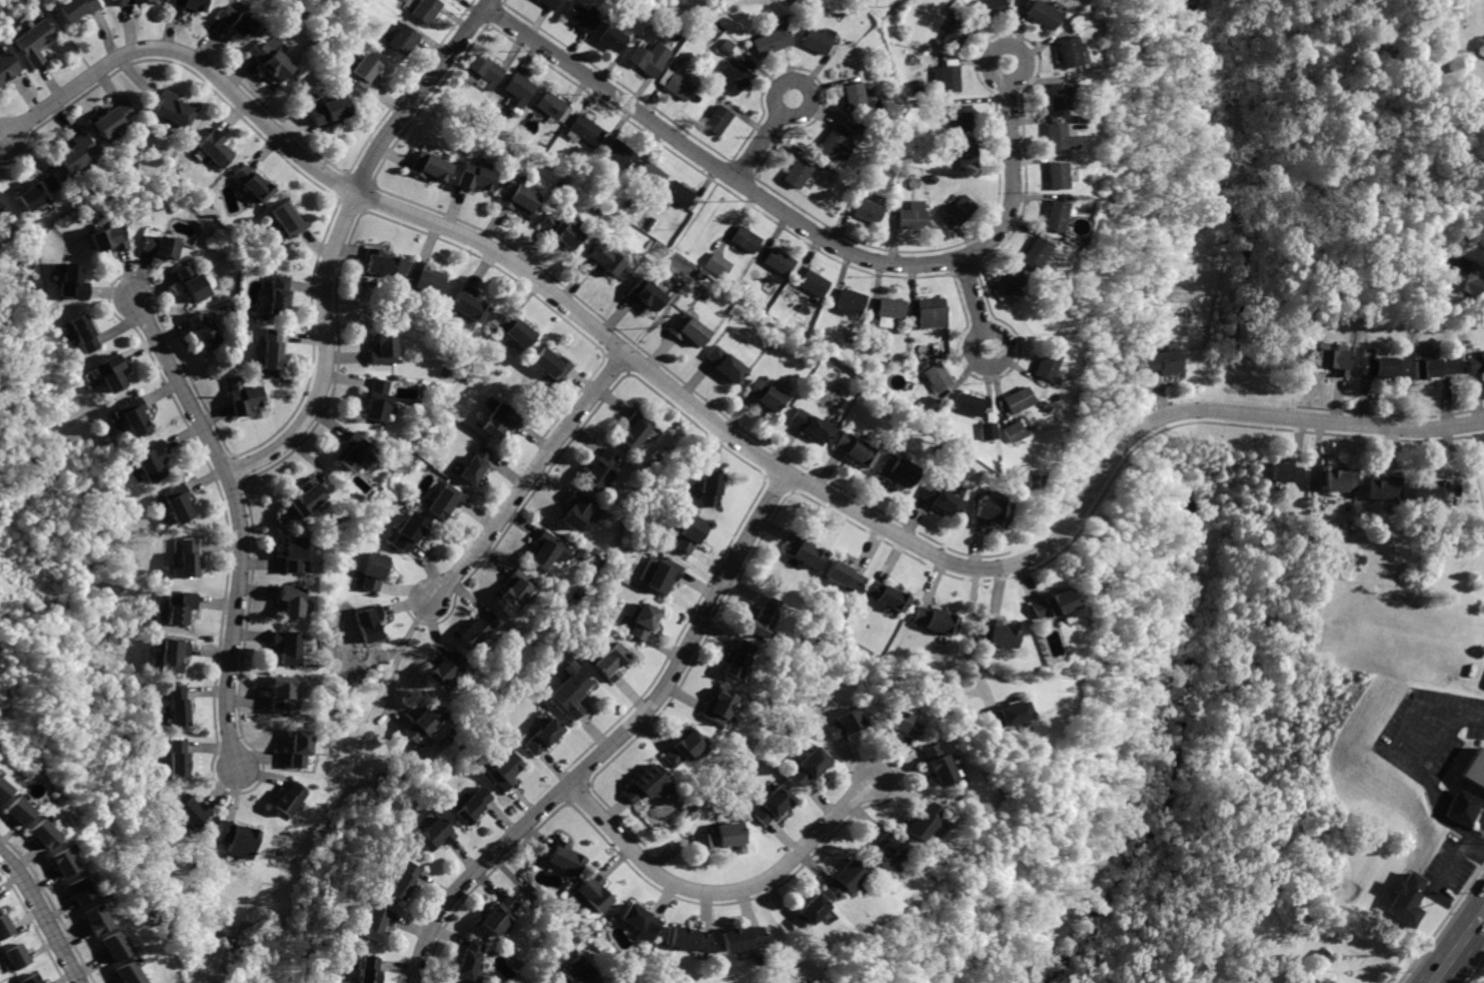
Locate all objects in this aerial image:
building: (130, 2)
building: (1065, 3)
building: (543, 4)
building: (190, 6)
building: (78, 8)
building: (987, 9)
building: (424, 11)
building: (1037, 17)
building: (579, 18)
building: (235, 23)
building: (952, 34)
building: (609, 40)
building: (769, 40)
building: (401, 42)
building: (812, 44)
building: (32, 45)
building: (1060, 51)
building: (645, 58)
building: (270, 62)
building: (6, 68)
building: (484, 71)
building: (359, 73)
building: (946, 78)
road: (137, 79)
building: (734, 79)
building: (676, 88)
building: (515, 89)
building: (1054, 96)
building: (852, 97)
building: (551, 106)
building: (172, 108)
building: (327, 110)
building: (114, 118)
building: (959, 118)
building: (720, 119)
building: (584, 130)
building: (1057, 137)
road: (766, 139)
building: (829, 143)
building: (214, 146)
building: (79, 149)
building: (620, 153)
building: (966, 157)
building: (428, 167)
building: (651, 175)
building: (797, 175)
building: (1055, 175)
building: (470, 177)
building: (251, 184)
building: (35, 192)
building: (677, 192)
building: (513, 198)
building: (2, 199)
building: (865, 208)
building: (960, 209)
building: (912, 216)
building: (1052, 217)
building: (289, 219)
road: (735, 223)
road: (803, 225)
building: (555, 230)
road: (339, 239)
building: (746, 239)
building: (108, 240)
building: (160, 246)
building: (1034, 251)
building: (598, 261)
building: (778, 263)
building: (380, 265)
building: (716, 266)
building: (426, 279)
building: (1464, 279)
building: (1008, 280)
building: (73, 282)
building: (191, 282)
building: (813, 282)
road: (1483, 290)
building: (641, 294)
building: (279, 295)
building: (848, 300)
building: (468, 304)
road: (971, 304)
building: (887, 308)
building: (929, 311)
building: (515, 328)
building: (684, 329)
building: (202, 331)
building: (83, 334)
building: (271, 347)
building: (381, 350)
building: (1159, 358)
building: (1336, 363)
building: (1043, 364)
building: (551, 365)
building: (724, 365)
building: (1475, 366)
building: (1380, 368)
building: (1431, 368)
building: (108, 376)
building: (935, 377)
building: (242, 396)
building: (765, 396)
building: (375, 398)
building: (1016, 399)
building: (969, 404)
building: (924, 408)
building: (496, 417)
building: (133, 418)
building: (809, 425)
building: (636, 426)
road: (721, 429)
building: (1013, 429)
building: (986, 433)
building: (352, 447)
building: (857, 448)
building: (153, 459)
building: (476, 463)
building: (601, 465)
building: (898, 471)
building: (1283, 472)
road: (528, 478)
building: (1344, 479)
building: (1031, 480)
building: (1388, 486)
building: (711, 488)
building: (1434, 490)
building: (305, 496)
building: (939, 498)
building: (443, 500)
building: (175, 502)
building: (576, 510)
building: (988, 510)
road: (239, 523)
building: (406, 535)
building: (690, 537)
building: (550, 548)
building: (805, 550)
building: (293, 552)
building: (189, 557)
building: (371, 571)
building: (666, 575)
building: (843, 576)
building: (514, 587)
building: (887, 595)
building: (291, 599)
building: (1047, 602)
building: (181, 605)
building: (766, 615)
building: (642, 620)
building: (935, 620)
building: (368, 622)
building: (479, 628)
building: (996, 633)
road: (968, 641)
building: (288, 646)
building: (175, 653)
building: (741, 657)
road: (395, 659)
building: (610, 661)
building: (446, 667)
building: (279, 690)
building: (573, 693)
building: (177, 706)
building: (717, 707)
road: (1462, 715)
building: (1005, 716)
building: (844, 723)
building: (903, 724)
building: (418, 726)
building: (542, 735)
road: (615, 740)
building: (297, 747)
building: (681, 747)
building: (179, 756)
building: (937, 763)
building: (809, 768)
building: (1475, 768)
building: (504, 772)
building: (642, 784)
building: (4, 789)
building: (290, 799)
building: (471, 804)
building: (769, 806)
building: (1464, 807)
building: (16, 810)
building: (193, 812)
building: (922, 819)
building: (434, 833)
building: (39, 834)
building: (713, 836)
building: (237, 837)
building: (884, 849)
road: (1483, 849)
building: (562, 855)
building: (60, 863)
building: (838, 878)
building: (404, 880)
building: (76, 890)
building: (590, 892)
road: (721, 893)
building: (1405, 899)
road: (538, 901)
building: (803, 910)
road: (45, 913)
building: (500, 915)
building: (93, 919)
building: (638, 919)
building: (377, 923)
building: (5, 926)
road: (773, 932)
building: (734, 937)
building: (687, 938)
building: (110, 948)
road: (1460, 950)
building: (17, 957)
building: (472, 959)
building: (369, 969)
building: (578, 969)
building: (127, 973)
road: (638, 973)
building: (33, 979)
building: (807, 981)

